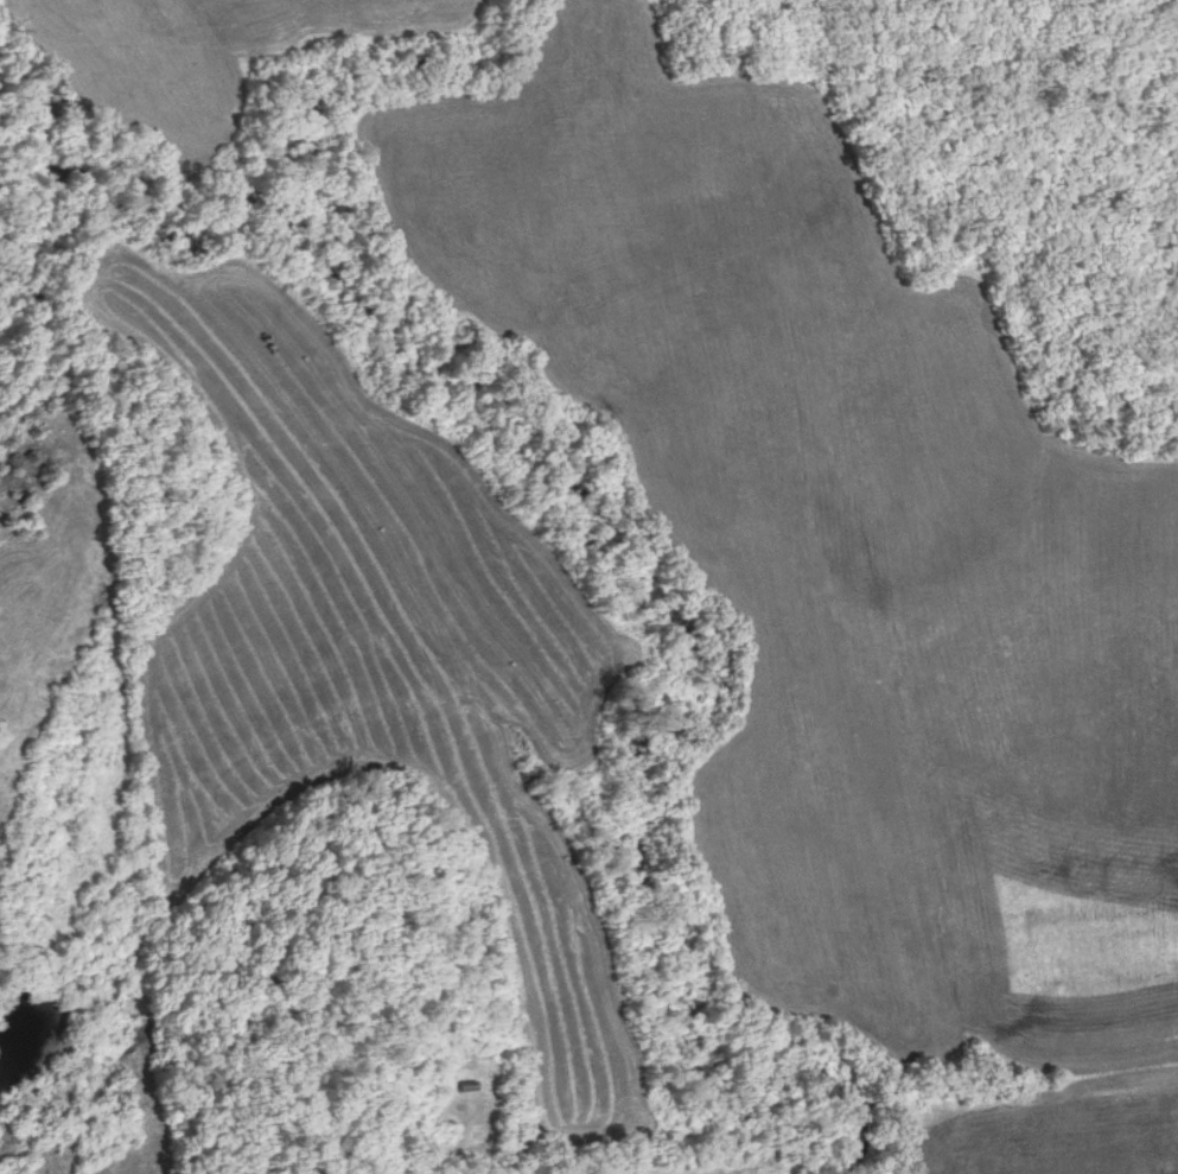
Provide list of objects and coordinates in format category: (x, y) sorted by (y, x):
road: (1070, 1097)
road: (437, 1153)

